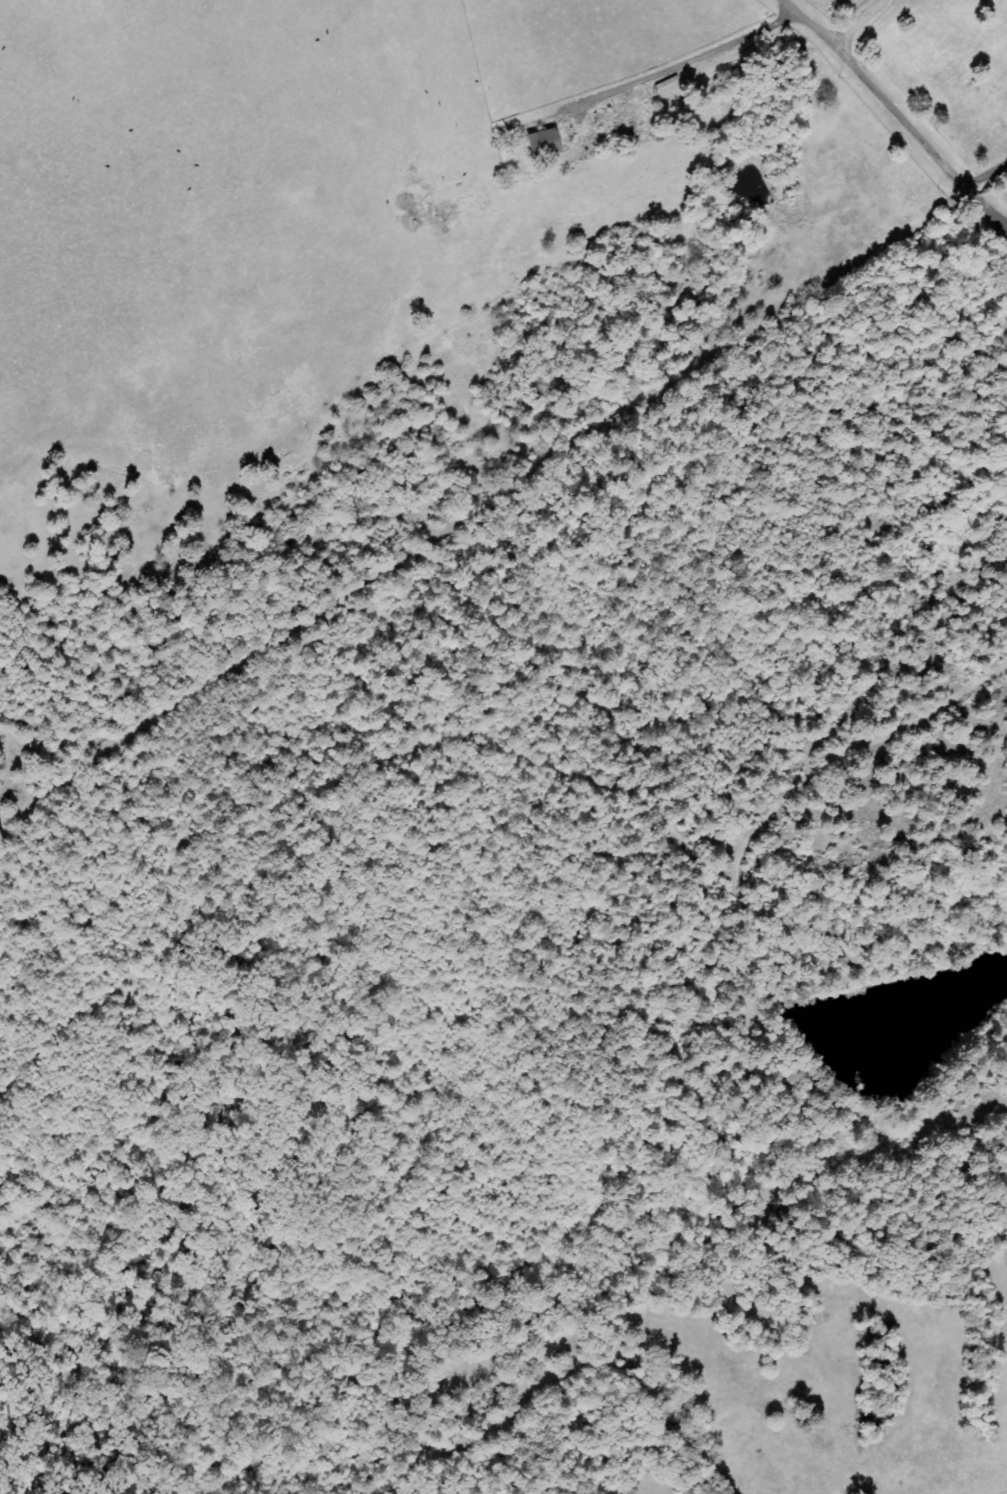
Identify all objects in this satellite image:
building: (545, 144)
road: (997, 214)

